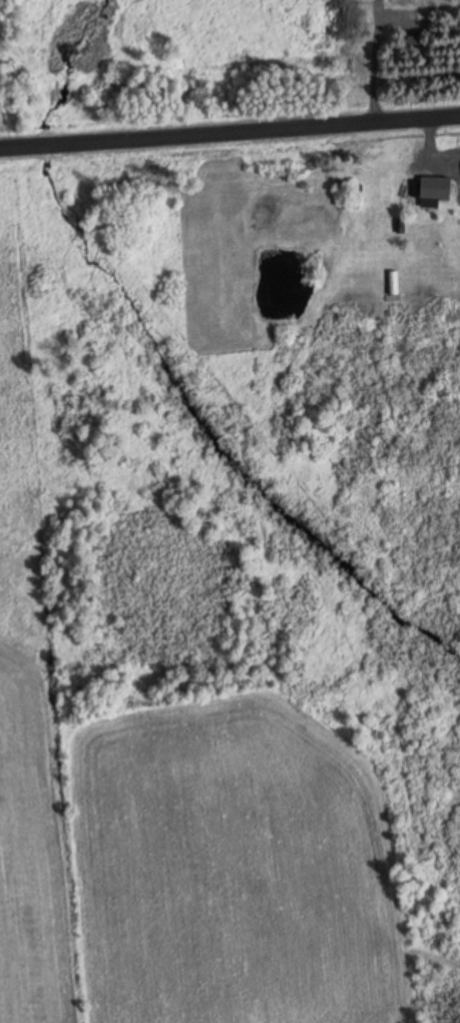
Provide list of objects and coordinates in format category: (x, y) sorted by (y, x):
road: (229, 128)
building: (433, 187)
crop: (184, 853)

